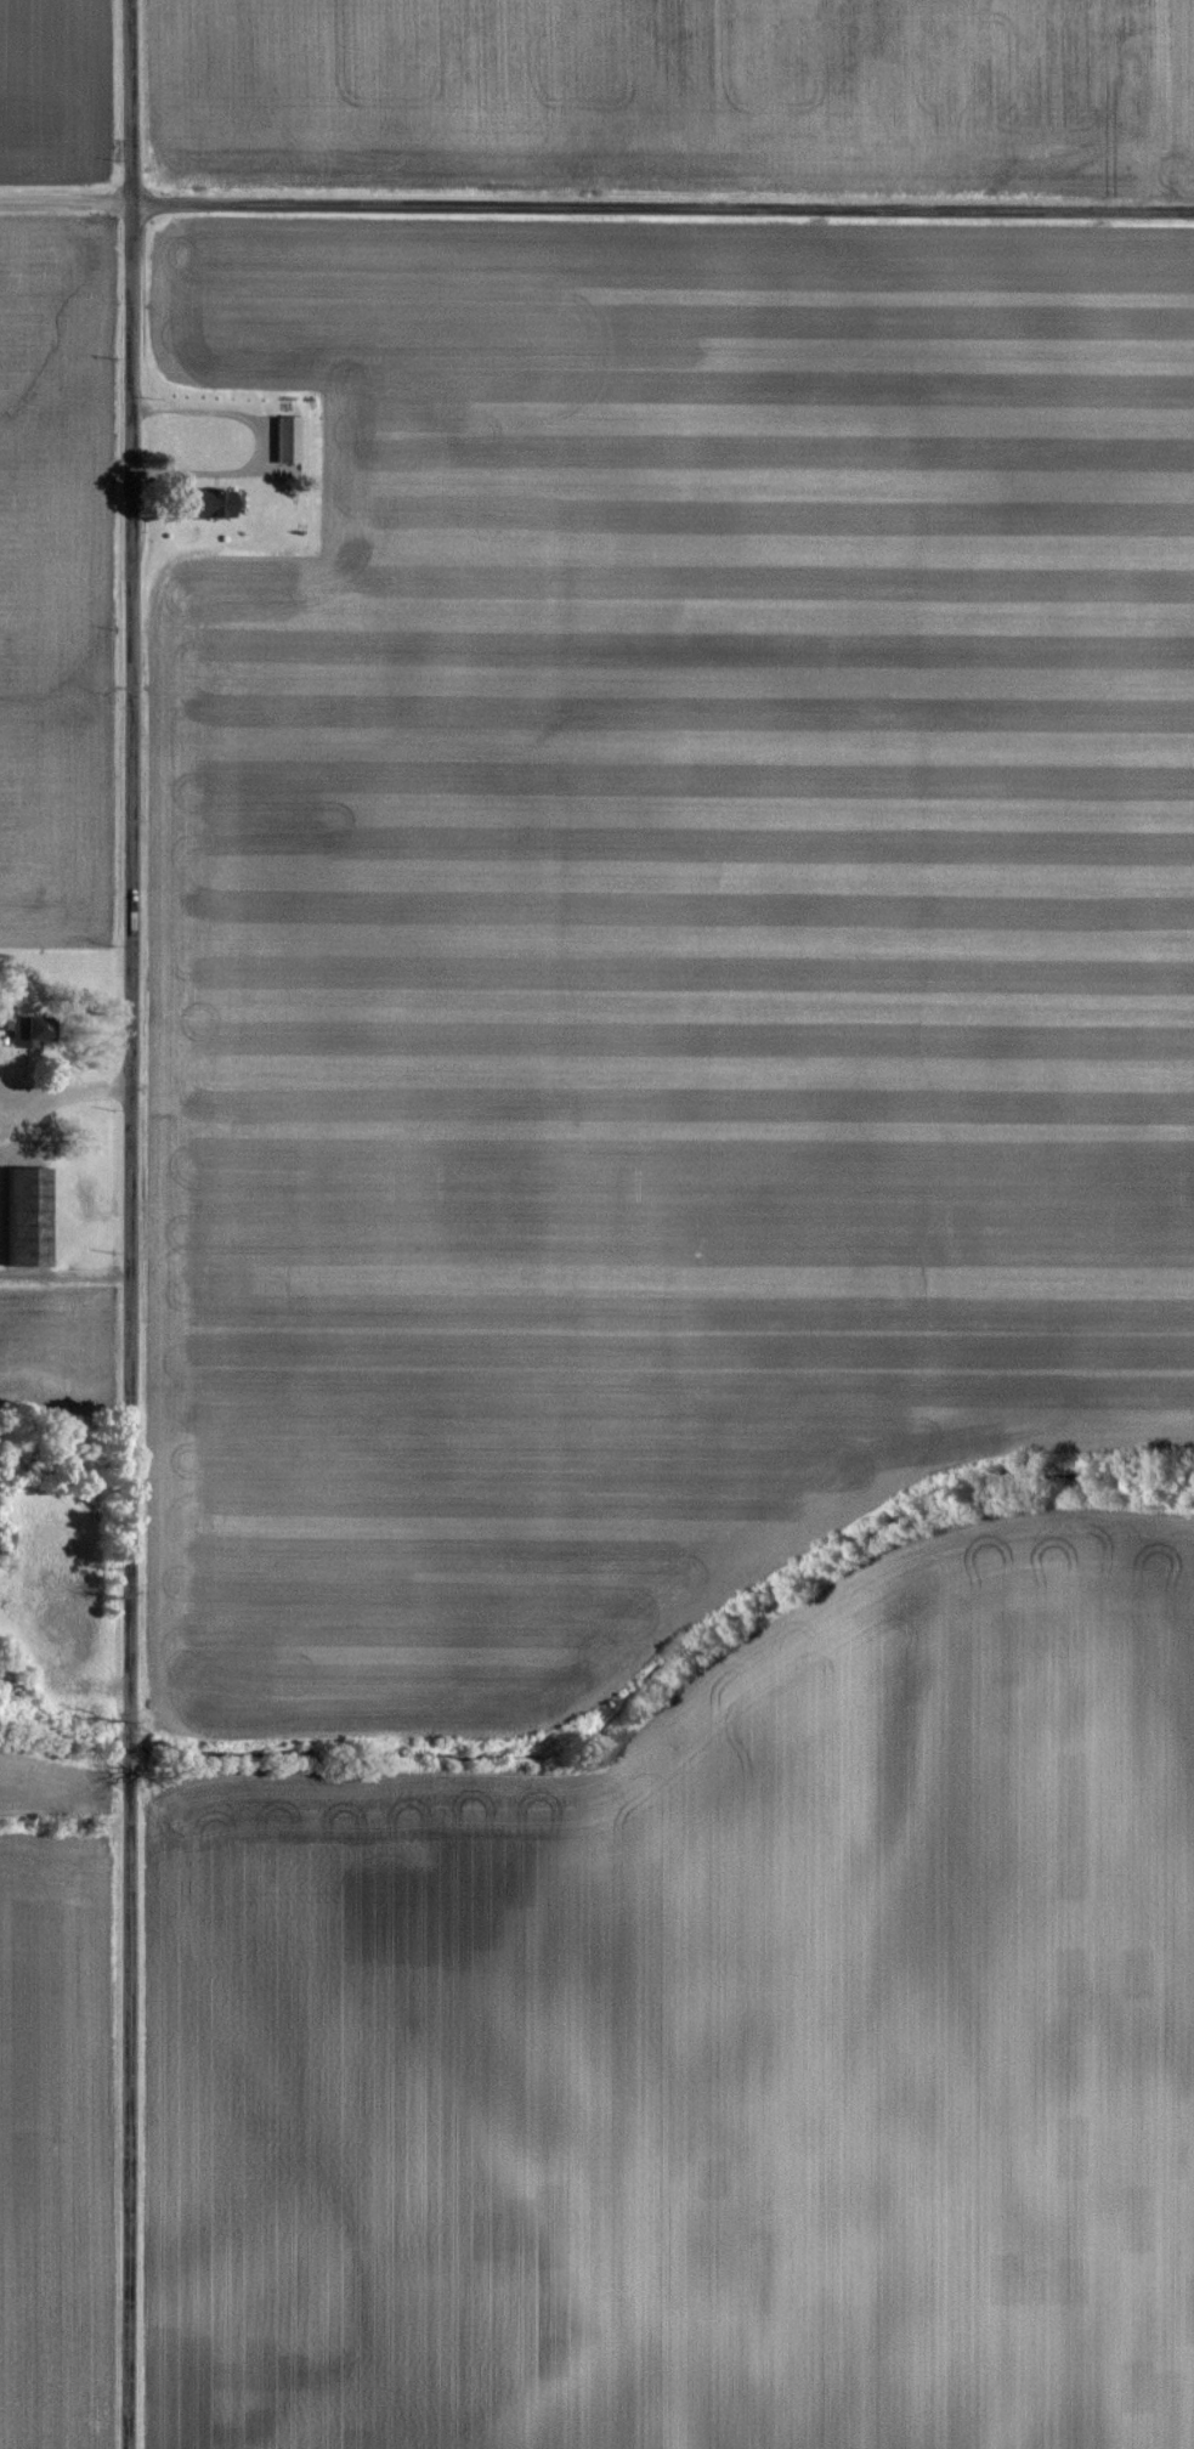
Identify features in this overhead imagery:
road: (69, 199)
road: (666, 211)
building: (288, 439)
road: (260, 442)
building: (214, 504)
road: (58, 1093)
road: (135, 1223)
road: (67, 1269)

